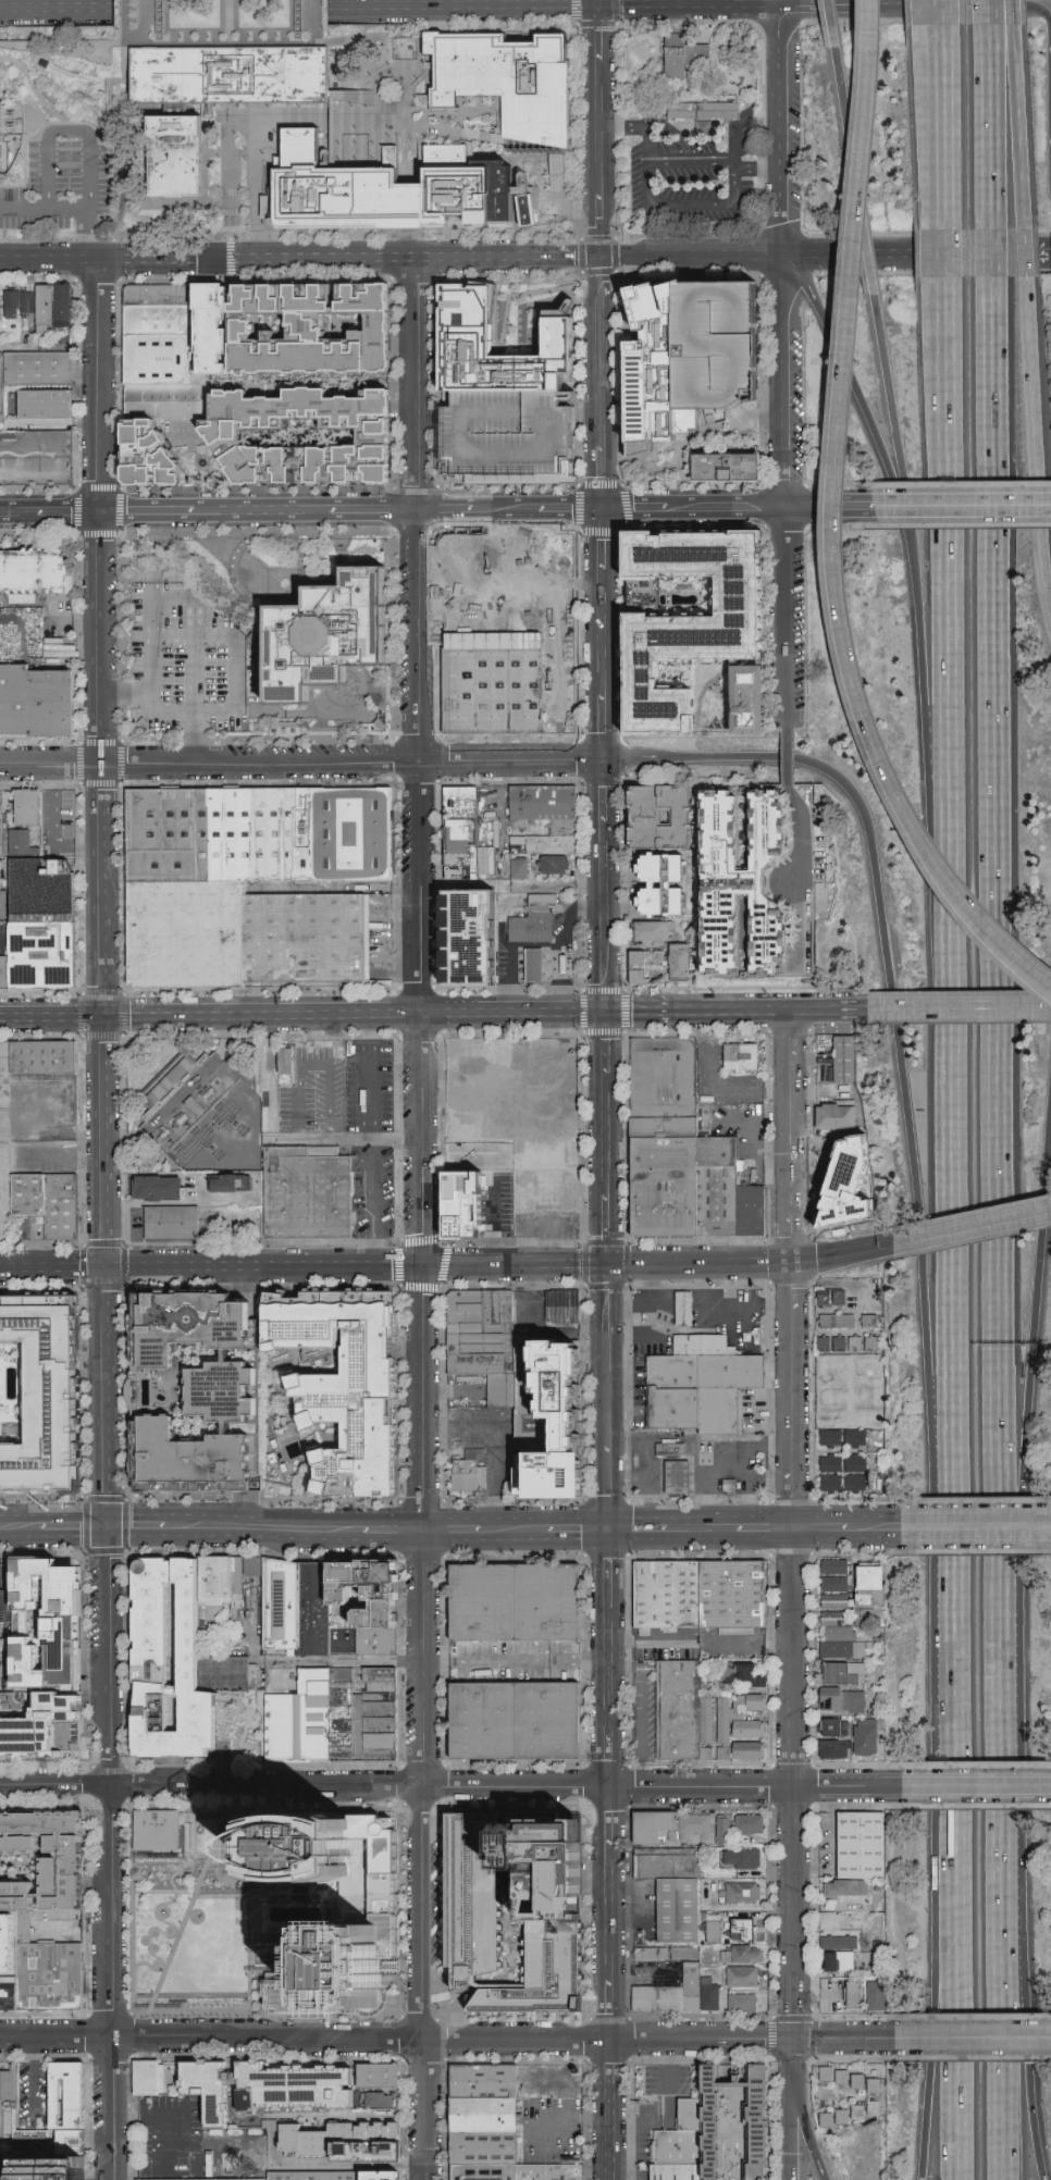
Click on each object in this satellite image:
road: (792, 1)
road: (597, 2)
road: (734, 2)
road: (962, 2)
road: (755, 3)
road: (828, 3)
road: (525, 4)
traffic signals: (597, 4)
road: (57, 7)
road: (990, 12)
road: (1013, 12)
road: (925, 13)
road: (940, 13)
road: (124, 23)
park: (220, 23)
road: (57, 24)
road: (450, 24)
road: (596, 24)
road: (829, 24)
road: (235, 42)
road: (70, 53)
building: (684, 55)
building: (227, 76)
building: (517, 76)
road: (33, 88)
road: (109, 92)
road: (942, 94)
road: (935, 95)
building: (705, 111)
building: (7, 123)
road: (627, 126)
road: (845, 127)
road: (989, 128)
road: (1018, 128)
road: (783, 129)
road: (603, 131)
road: (66, 132)
road: (32, 133)
road: (94, 137)
road: (733, 147)
road: (617, 150)
building: (173, 157)
road: (691, 165)
road: (759, 165)
building: (556, 170)
building: (404, 188)
road: (254, 191)
road: (943, 197)
road: (676, 205)
road: (22, 206)
road: (87, 213)
road: (287, 235)
road: (573, 236)
road: (866, 251)
road: (918, 256)
road: (989, 256)
road: (1024, 256)
road: (694, 257)
road: (944, 257)
road: (509, 258)
traffic signals: (603, 258)
road: (209, 260)
road: (510, 277)
building: (158, 295)
building: (22, 304)
building: (59, 307)
building: (0, 309)
building: (158, 319)
building: (311, 326)
building: (215, 330)
building: (734, 334)
parking garage: (734, 334)
building: (466, 340)
parking garage: (466, 340)
building: (671, 357)
building: (159, 358)
building: (40, 369)
road: (576, 379)
building: (3, 382)
road: (618, 382)
road: (786, 383)
road: (603, 384)
road: (100, 386)
building: (169, 401)
building: (52, 404)
road: (860, 414)
building: (2, 421)
building: (305, 436)
building: (506, 438)
parking garage: (506, 438)
road: (1029, 450)
building: (149, 458)
building: (728, 468)
building: (397, 474)
road: (963, 508)
road: (739, 510)
traffic signals: (604, 511)
road: (353, 512)
road: (50, 513)
traffic signals: (101, 513)
road: (831, 521)
building: (35, 574)
road: (181, 599)
building: (702, 620)
helipad: (317, 621)
road: (787, 621)
road: (903, 625)
building: (331, 633)
road: (102, 637)
parking lot: (183, 660)
road: (236, 679)
building: (489, 681)
building: (728, 696)
building: (746, 701)
building: (37, 707)
road: (787, 760)
traffic signals: (605, 761)
road: (301, 763)
building: (545, 804)
building: (33, 805)
building: (658, 818)
building: (1, 827)
building: (461, 827)
building: (545, 829)
building: (765, 829)
building: (716, 834)
road: (801, 837)
building: (279, 839)
building: (347, 839)
building: (196, 841)
building: (545, 845)
building: (553, 867)
building: (661, 868)
building: (5, 869)
building: (519, 869)
road: (455, 882)
building: (45, 884)
road: (990, 885)
road: (104, 890)
road: (420, 892)
road: (950, 892)
building: (663, 903)
building: (531, 929)
building: (652, 931)
building: (721, 932)
building: (458, 934)
building: (768, 937)
road: (1, 939)
building: (308, 939)
building: (189, 941)
road: (559, 947)
building: (44, 955)
road: (510, 964)
building: (679, 964)
building: (531, 965)
gas station: (531, 965)
building: (646, 968)
building: (7, 978)
road: (1046, 983)
road: (1046, 986)
road: (1021, 1011)
traffic signals: (606, 1012)
road: (639, 1012)
road: (730, 1012)
road: (829, 1012)
road: (930, 1012)
road: (356, 1014)
road: (52, 1016)
traffic signals: (106, 1016)
road: (882, 1023)
building: (741, 1057)
building: (840, 1060)
building: (284, 1061)
building: (48, 1063)
building: (169, 1079)
power substation: (169, 1079)
road: (620, 1115)
building: (832, 1115)
power substation: (208, 1120)
road: (343, 1139)
road: (370, 1139)
road: (107, 1141)
parking lot: (7, 1144)
building: (505, 1154)
building: (685, 1154)
building: (237, 1180)
building: (853, 1184)
building: (164, 1186)
building: (310, 1198)
building: (33, 1200)
building: (472, 1206)
building: (64, 1211)
road: (972, 1226)
building: (174, 1227)
road: (841, 1255)
road: (698, 1264)
road: (357, 1265)
road: (53, 1267)
traffic signals: (108, 1267)
road: (790, 1269)
building: (828, 1296)
building: (682, 1308)
gas station: (682, 1308)
building: (565, 1310)
road: (1023, 1311)
building: (482, 1333)
building: (864, 1341)
building: (832, 1342)
road: (607, 1346)
building: (706, 1348)
building: (676, 1375)
building: (734, 1375)
building: (339, 1385)
building: (149, 1387)
building: (503, 1391)
building: (196, 1392)
building: (44, 1397)
building: (677, 1412)
building: (554, 1414)
building: (721, 1414)
building: (236, 1425)
road: (494, 1444)
road: (765, 1446)
road: (633, 1447)
building: (671, 1450)
road: (700, 1461)
building: (472, 1473)
road: (629, 1477)
building: (681, 1479)
gas station: (681, 1479)
road: (769, 1479)
road: (707, 1494)
road: (126, 1500)
road: (21, 1524)
road: (875, 1525)
road: (977, 1525)
road: (638, 1526)
road: (702, 1526)
road: (743, 1526)
road: (770, 1526)
road: (819, 1526)
road: (393, 1527)
road: (452, 1527)
road: (489, 1527)
road: (522, 1527)
road: (578, 1527)
traffic signals: (608, 1527)
road: (75, 1528)
road: (263, 1528)
traffic signals: (110, 1529)
road: (137, 1529)
building: (828, 1565)
building: (221, 1582)
building: (829, 1583)
building: (857, 1586)
building: (369, 1591)
building: (735, 1597)
building: (256, 1598)
building: (670, 1598)
building: (828, 1600)
building: (282, 1607)
building: (518, 1607)
building: (316, 1612)
building: (825, 1618)
building: (49, 1625)
building: (833, 1633)
building: (376, 1640)
building: (838, 1648)
road: (110, 1651)
road: (991, 1652)
road: (950, 1659)
road: (516, 1661)
building: (169, 1663)
road: (342, 1664)
building: (7, 1669)
building: (231, 1673)
building: (2, 1699)
building: (837, 1699)
building: (698, 1717)
building: (336, 1720)
building: (518, 1727)
building: (44, 1730)
building: (844, 1737)
road: (793, 1783)
road: (450, 1786)
road: (977, 1786)
building: (44, 1822)
building: (743, 1823)
building: (718, 1830)
building: (157, 1831)
building: (23, 1846)
building: (0, 1847)
building: (865, 1849)
road: (421, 1854)
building: (732, 1857)
building: (67, 1873)
building: (840, 1887)
road: (156, 1891)
building: (738, 1892)
building: (676, 1895)
building: (21, 1897)
road: (227, 1897)
building: (529, 1907)
road: (166, 1910)
road: (191, 1911)
road: (257, 1912)
building: (334, 1912)
park: (203, 1924)
building: (25, 1929)
building: (733, 1929)
building: (35, 1933)
road: (78, 1937)
building: (833, 1942)
building: (10, 1944)
building: (741, 1954)
building: (834, 1960)
building: (737, 1975)
building: (51, 1978)
building: (694, 1990)
building: (870, 1994)
road: (928, 1996)
road: (948, 1996)
road: (998, 1996)
road: (1017, 1996)
building: (9, 1997)
building: (738, 2001)
building: (672, 2006)
road: (57, 2036)
road: (453, 2037)
road: (974, 2039)
road: (844, 2040)
traffic signals: (793, 2041)
road: (792, 2069)
building: (824, 2073)
building: (376, 2077)
building: (651, 2077)
building: (840, 2078)
building: (149, 2079)
building: (687, 2079)
parking lot: (552, 2081)
building: (855, 2081)
road: (37, 2082)
building: (482, 2082)
building: (8, 2084)
building: (871, 2086)
building: (265, 2089)
parking lot: (33, 2092)
building: (71, 2097)
building: (375, 2101)
road: (113, 2107)
building: (871, 2108)
building: (851, 2111)
building: (483, 2115)
road: (160, 2117)
building: (828, 2118)
building: (734, 2121)
parking lot: (551, 2126)
parking lot: (170, 2136)
building: (335, 2136)
road: (790, 2139)
road: (806, 2139)
building: (679, 2140)
building: (483, 2148)
road: (351, 2165)
building: (50, 2168)
building: (552, 2169)
building: (483, 2171)
building: (391, 2172)
building: (675, 2172)
building: (316, 2176)

